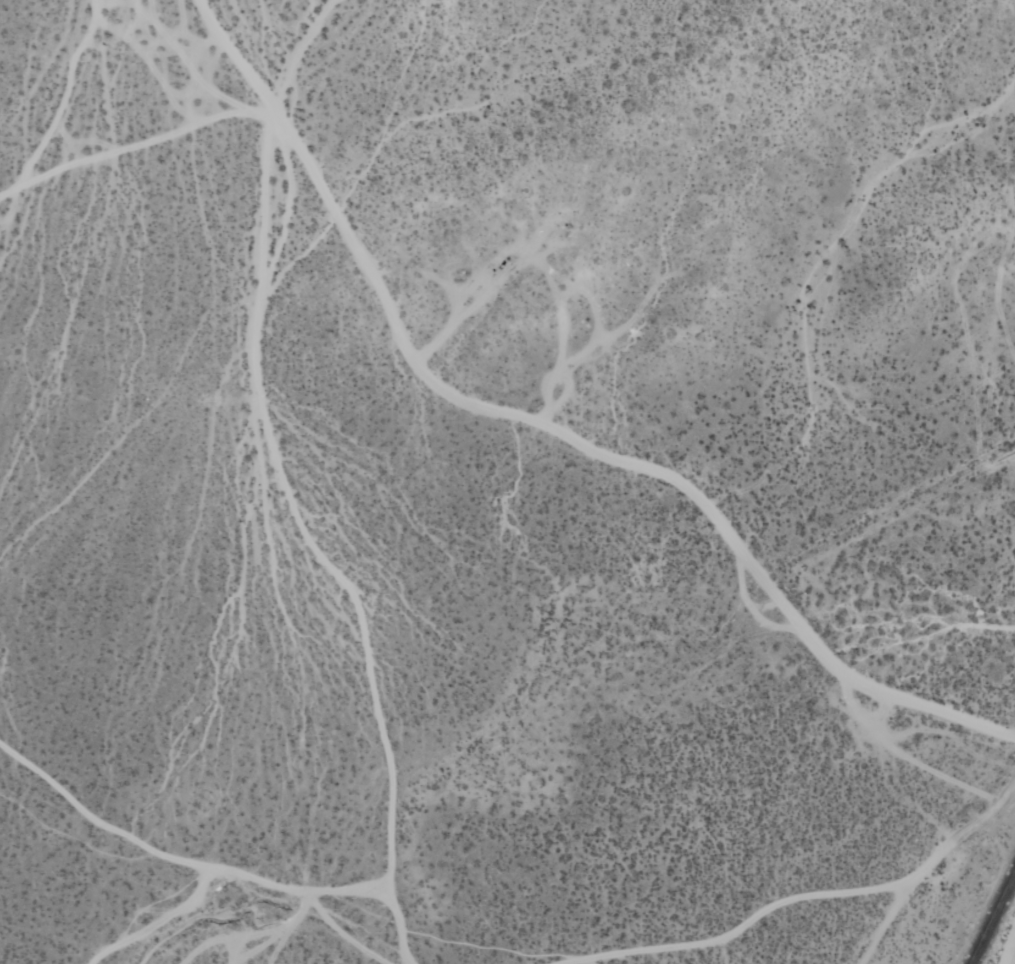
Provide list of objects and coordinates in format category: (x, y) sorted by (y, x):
railway: (993, 920)
road: (1008, 948)

